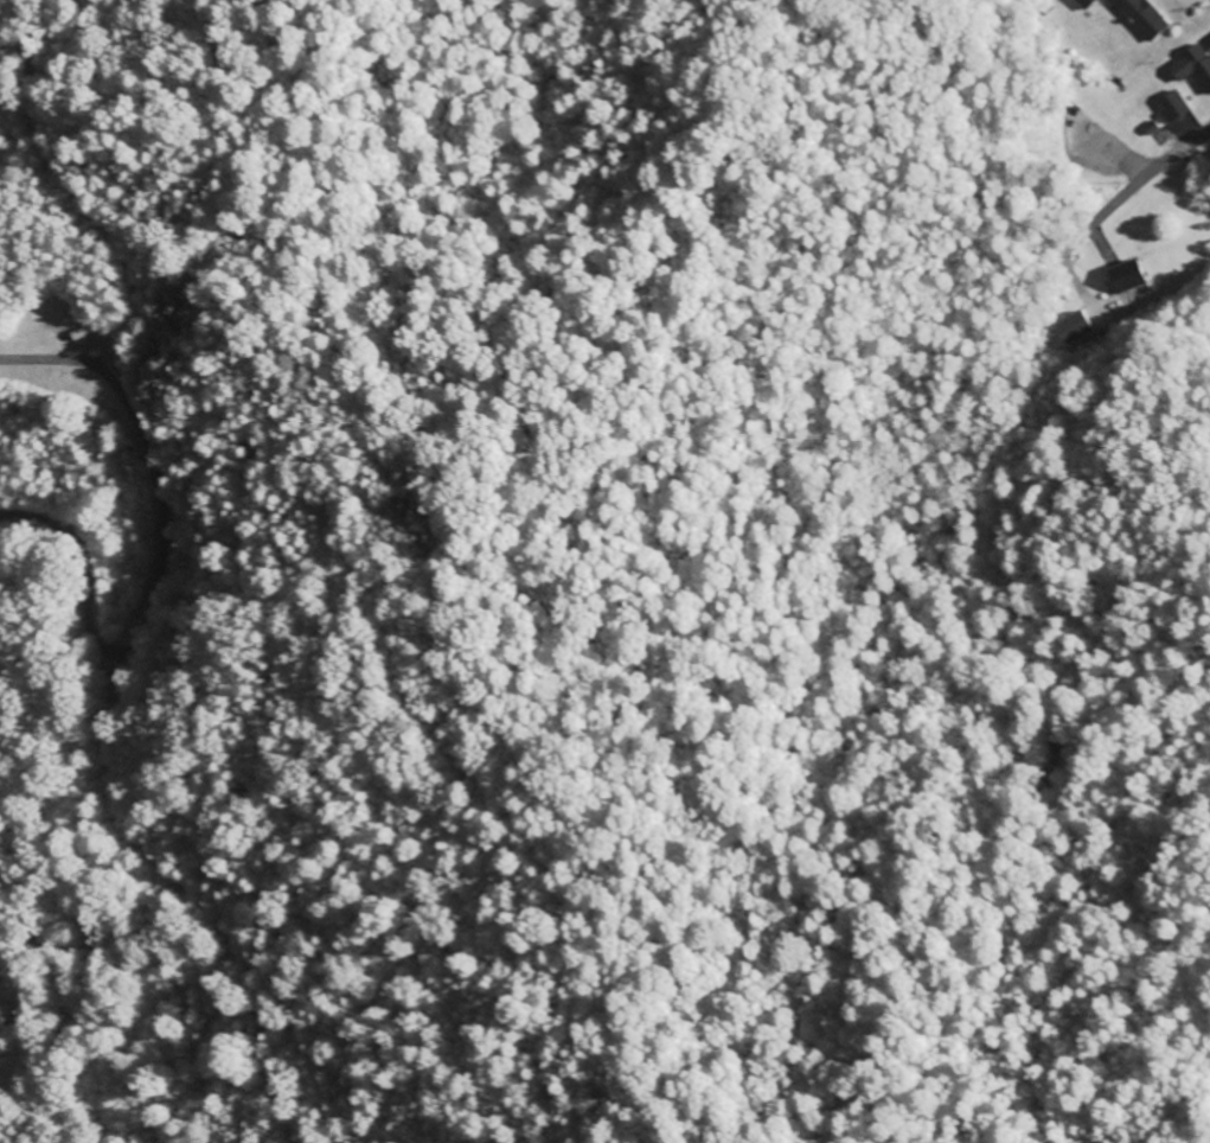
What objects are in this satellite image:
building: (1083, 4)
building: (1140, 17)
building: (1192, 66)
building: (1170, 107)
road: (1144, 178)
building: (1126, 276)
building: (1074, 327)
road: (145, 609)

